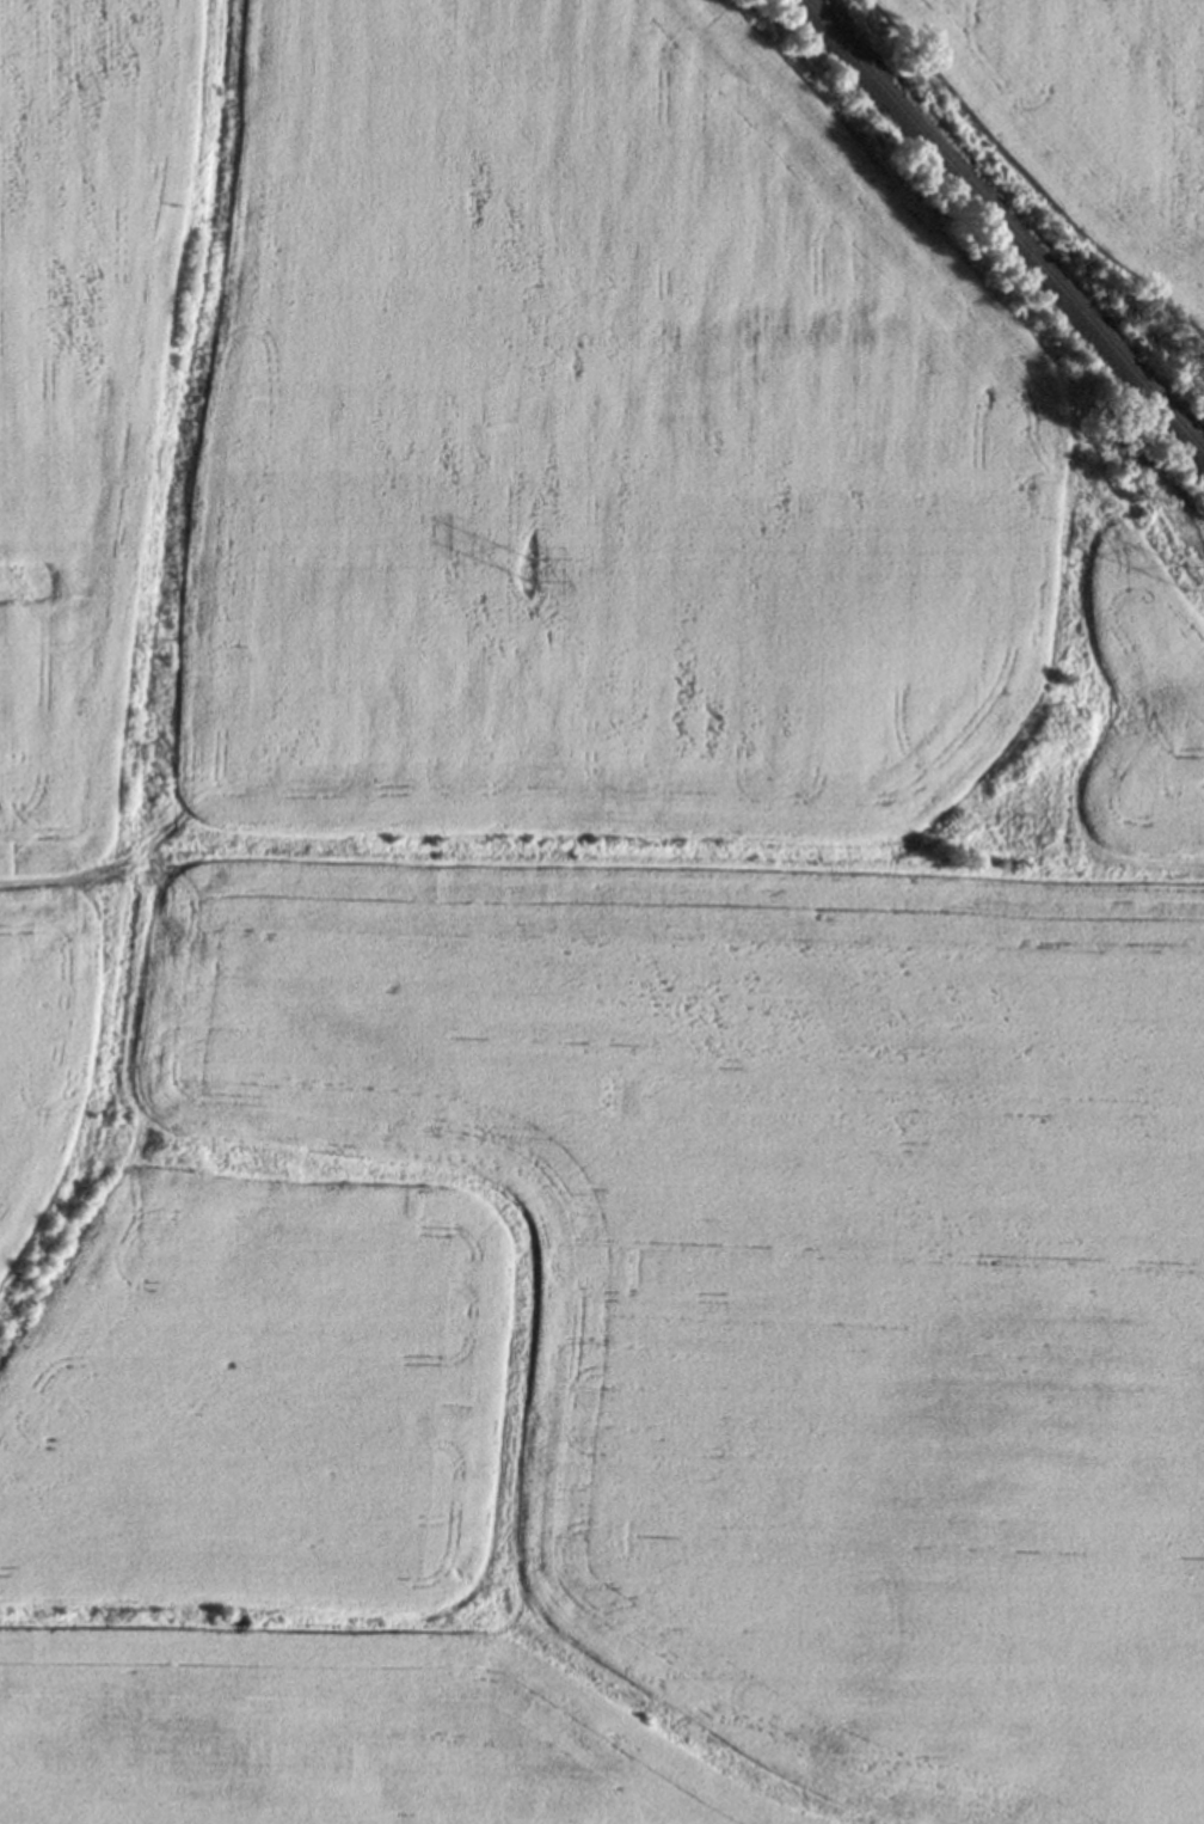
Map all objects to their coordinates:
railway: (1001, 228)
power tower: (532, 571)
power tower: (1186, 579)

